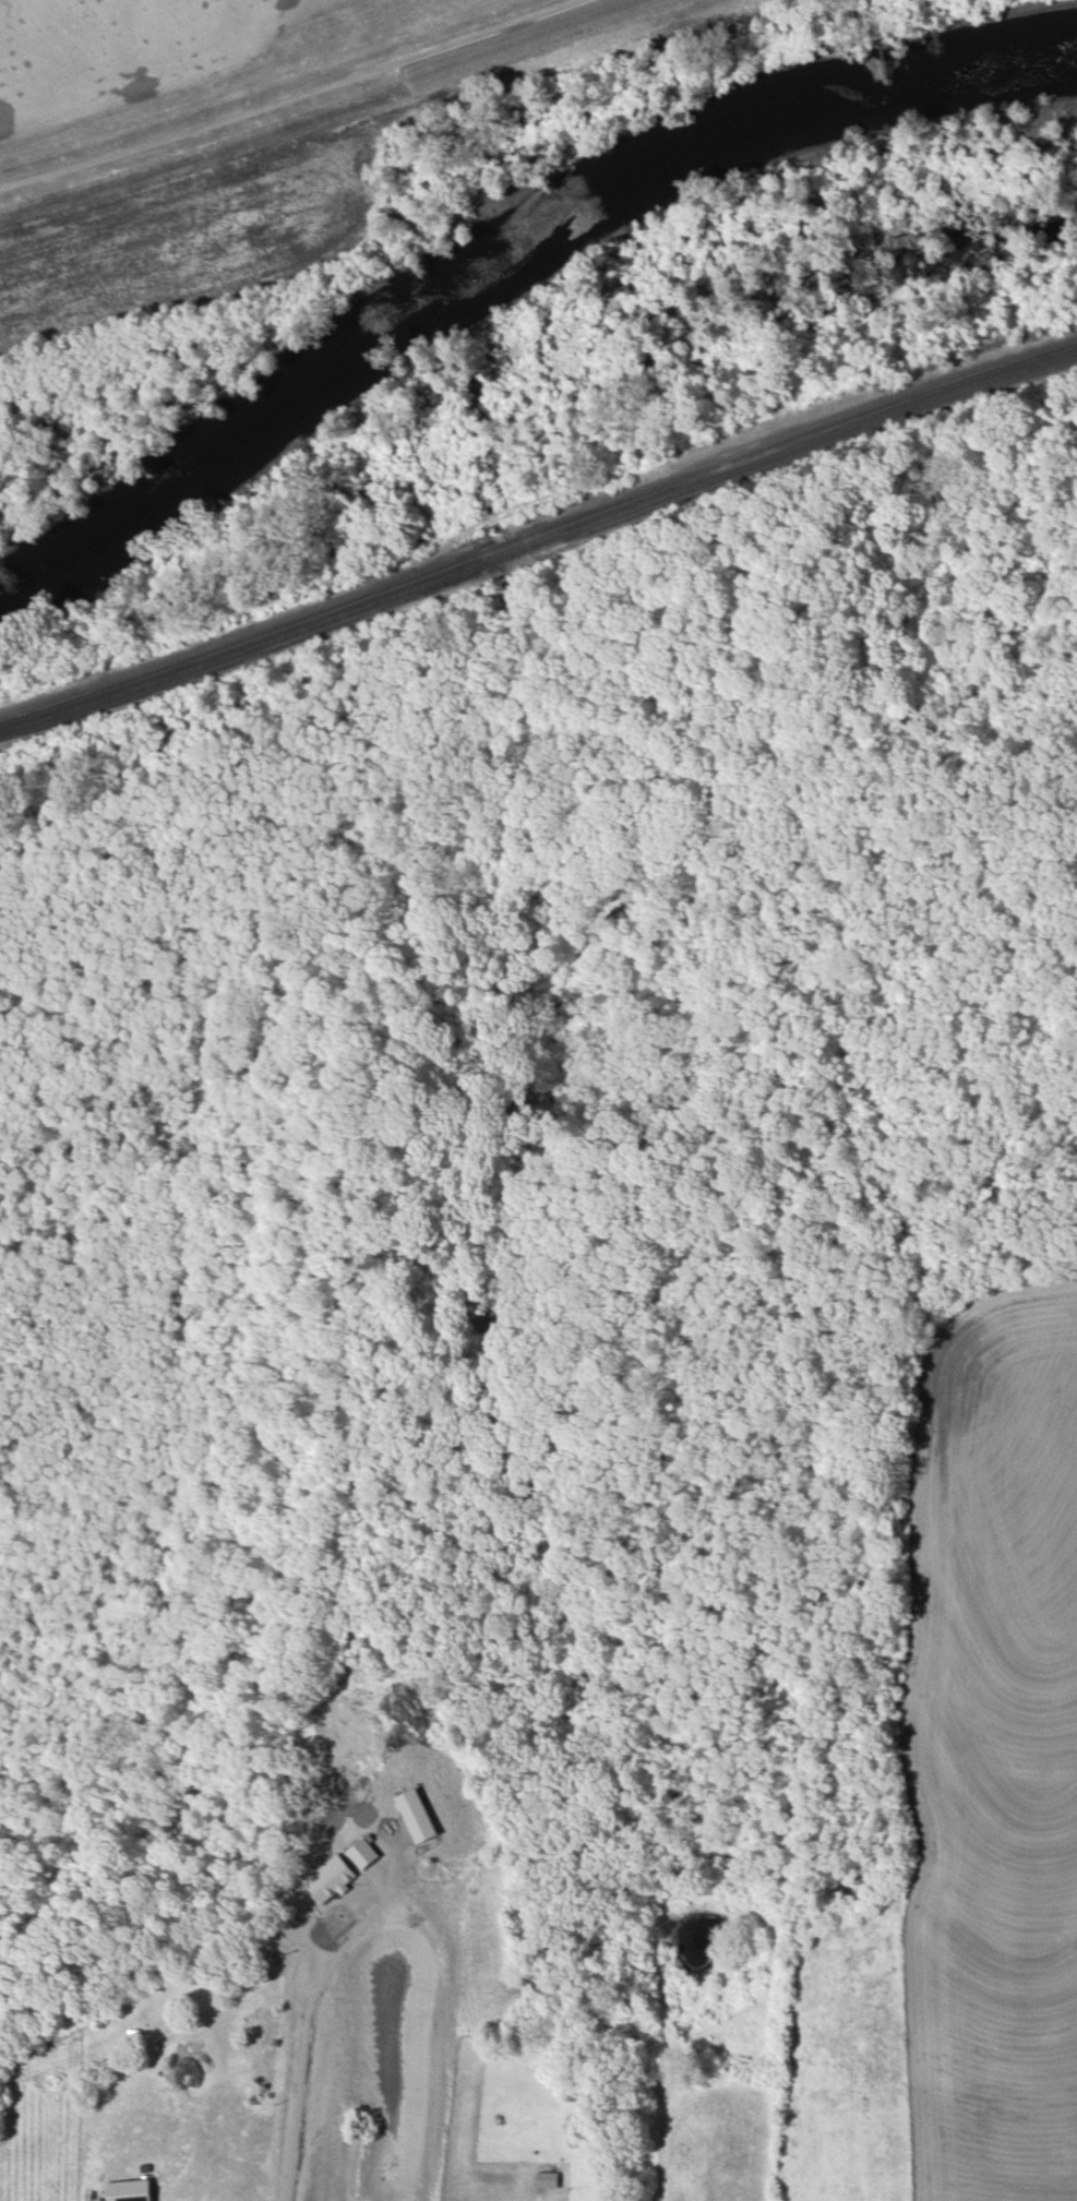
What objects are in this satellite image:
crop: (117, 53)
road: (292, 97)
river: (505, 246)
railway: (539, 527)
railway: (539, 538)
crop: (964, 1798)
road: (306, 2022)
building: (547, 2178)
building: (130, 2190)

